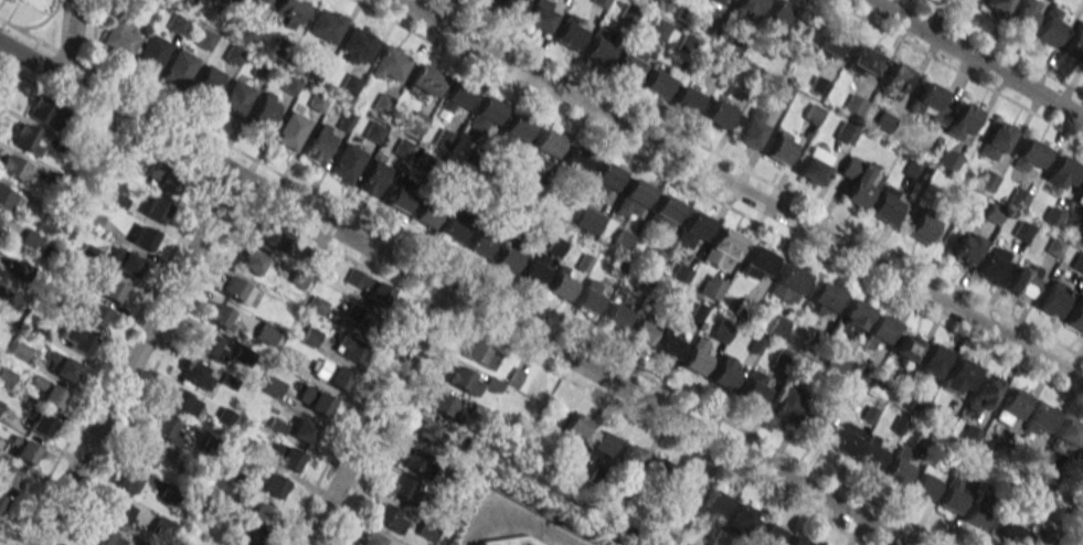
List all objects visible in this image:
building: (223, 0)
building: (481, 1)
building: (243, 2)
building: (263, 2)
building: (721, 2)
building: (996, 6)
building: (508, 8)
building: (747, 9)
building: (291, 11)
building: (540, 15)
building: (1023, 15)
building: (783, 18)
building: (326, 24)
building: (1052, 26)
building: (658, 30)
building: (570, 34)
building: (120, 36)
building: (205, 39)
road: (68, 40)
building: (1075, 43)
building: (830, 44)
road: (4, 46)
building: (357, 46)
road: (997, 46)
building: (598, 50)
building: (150, 54)
building: (233, 54)
road: (4, 56)
building: (864, 60)
road: (975, 60)
building: (629, 62)
road: (36, 65)
building: (390, 65)
building: (179, 68)
road: (9, 70)
road: (955, 71)
building: (209, 78)
building: (895, 78)
building: (425, 81)
building: (656, 84)
building: (235, 98)
building: (454, 99)
building: (686, 99)
building: (930, 106)
building: (264, 111)
building: (44, 113)
building: (718, 113)
building: (814, 114)
building: (485, 115)
building: (964, 121)
building: (751, 129)
building: (291, 130)
building: (513, 130)
building: (845, 133)
building: (444, 139)
building: (24, 140)
building: (996, 140)
building: (548, 142)
building: (319, 143)
building: (98, 146)
building: (779, 148)
building: (68, 151)
building: (1030, 156)
building: (126, 158)
building: (576, 160)
building: (346, 163)
building: (815, 164)
building: (13, 170)
building: (1063, 172)
building: (160, 177)
building: (373, 178)
road: (760, 178)
building: (605, 179)
building: (57, 180)
building: (986, 180)
building: (856, 181)
road: (739, 190)
building: (401, 194)
building: (1080, 195)
building: (633, 199)
building: (1019, 199)
building: (6, 200)
building: (117, 201)
road: (718, 201)
building: (884, 204)
building: (152, 210)
building: (426, 213)
building: (663, 213)
building: (992, 213)
building: (1052, 216)
building: (91, 218)
building: (588, 220)
building: (61, 222)
building: (453, 227)
building: (921, 227)
building: (692, 231)
building: (1022, 231)
building: (141, 238)
building: (29, 239)
building: (266, 239)
building: (623, 239)
building: (479, 243)
building: (555, 246)
building: (965, 247)
building: (722, 249)
building: (87, 253)
building: (507, 259)
building: (252, 261)
building: (123, 263)
building: (1077, 263)
building: (756, 264)
building: (991, 265)
building: (534, 268)
building: (19, 271)
building: (70, 277)
building: (1022, 279)
road: (475, 282)
building: (560, 284)
building: (787, 284)
building: (105, 286)
building: (711, 287)
building: (369, 288)
building: (236, 289)
building: (1, 291)
building: (587, 298)
building: (824, 298)
building: (1053, 298)
building: (53, 301)
building: (316, 304)
building: (89, 312)
road: (484, 312)
building: (614, 316)
building: (1076, 316)
building: (220, 317)
building: (852, 318)
building: (359, 320)
building: (40, 330)
building: (879, 330)
building: (641, 331)
building: (721, 332)
building: (266, 334)
building: (309, 336)
building: (75, 341)
building: (669, 344)
building: (906, 345)
building: (210, 346)
building: (349, 350)
building: (21, 353)
building: (481, 354)
building: (697, 356)
building: (288, 357)
road: (134, 360)
building: (933, 361)
building: (64, 365)
building: (329, 372)
building: (723, 374)
building: (195, 375)
building: (958, 376)
building: (7, 377)
building: (463, 381)
building: (273, 386)
building: (755, 388)
building: (49, 391)
building: (984, 393)
building: (314, 400)
building: (181, 403)
building: (1, 405)
building: (786, 405)
building: (1012, 406)
building: (224, 416)
road: (373, 417)
building: (1040, 418)
building: (40, 421)
building: (815, 424)
building: (575, 425)
building: (162, 427)
building: (302, 430)
building: (426, 430)
building: (1068, 431)
building: (845, 438)
building: (598, 445)
building: (1081, 448)
building: (25, 449)
building: (870, 452)
building: (147, 453)
building: (284, 456)
building: (631, 456)
building: (414, 460)
building: (898, 467)
building: (657, 472)
building: (9, 474)
building: (127, 480)
building: (238, 480)
building: (923, 484)
building: (400, 488)
building: (686, 489)
building: (951, 496)
building: (2, 501)
building: (712, 503)
building: (118, 511)
building: (979, 511)
building: (259, 514)
building: (389, 517)
building: (740, 520)
building: (163, 525)
road: (514, 525)
building: (1009, 531)
building: (768, 534)
building: (104, 537)
building: (1039, 537)
building: (247, 539)
building: (667, 539)
building: (797, 541)

